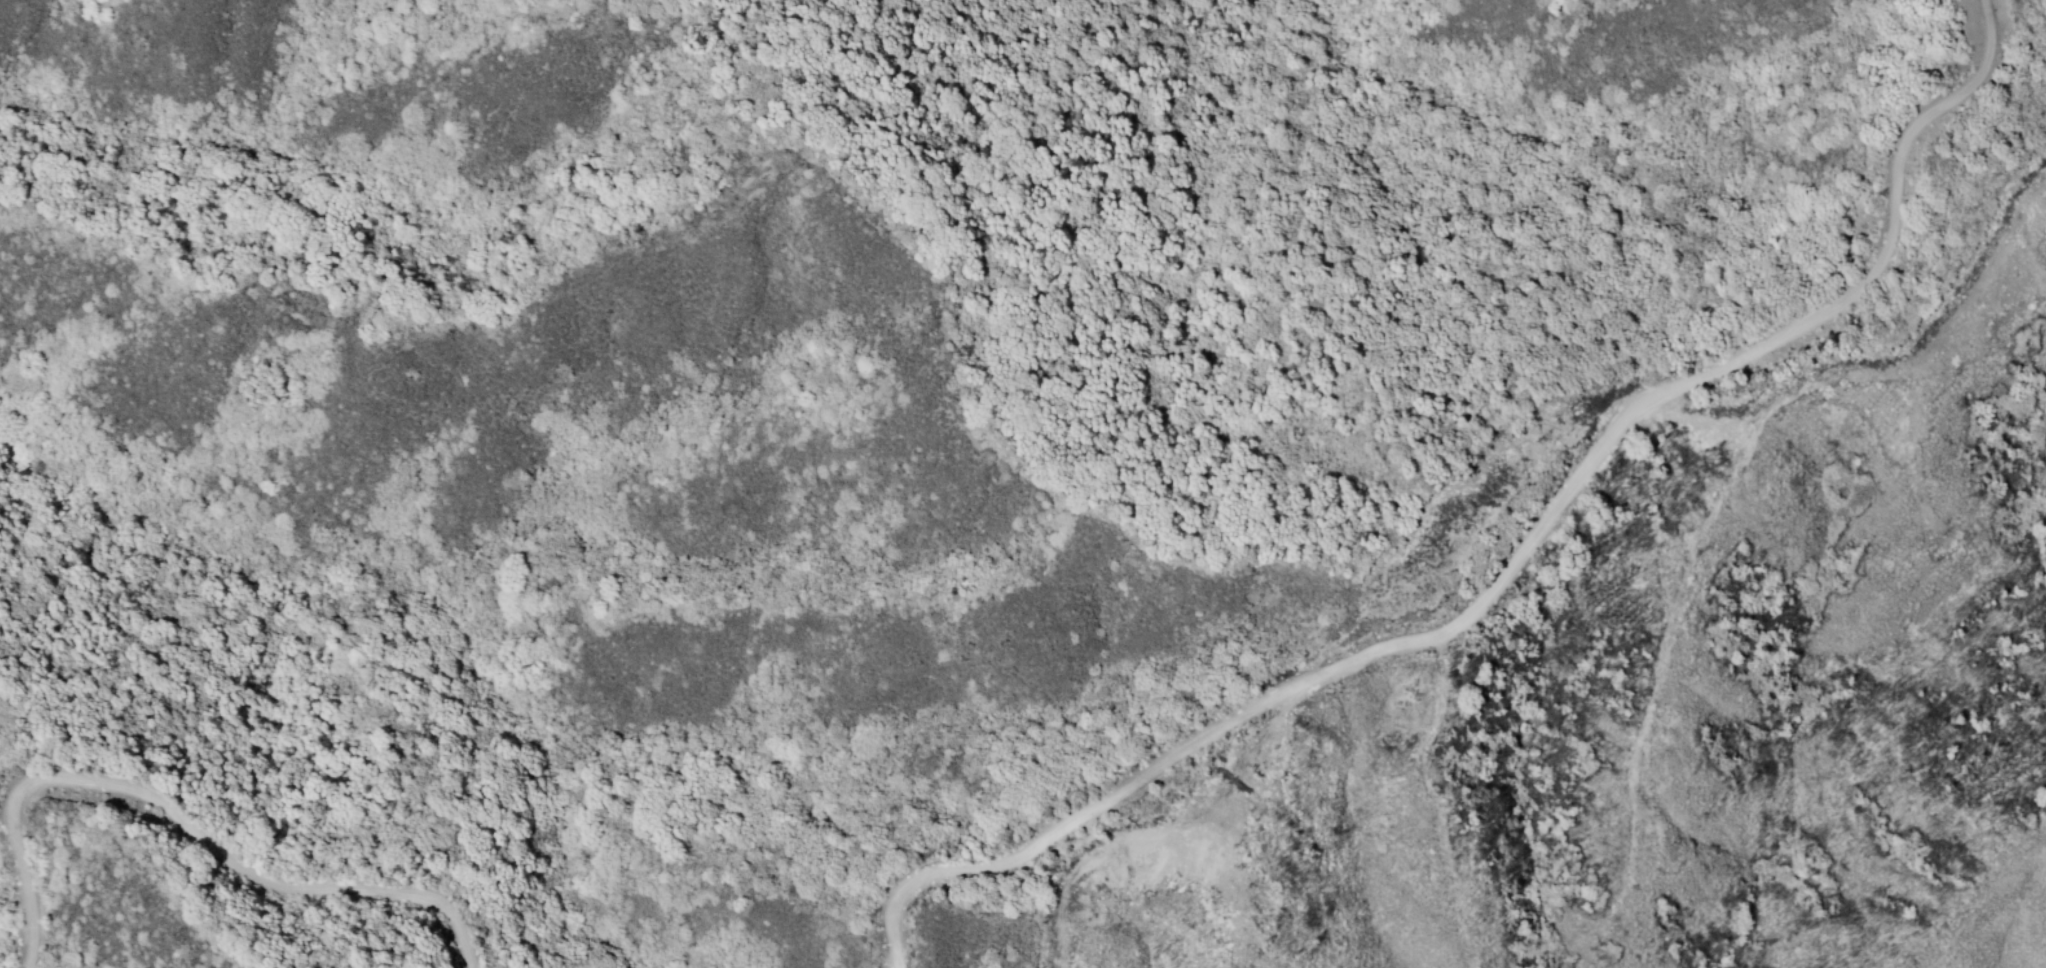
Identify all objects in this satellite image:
road: (2027, 256)
road: (1513, 563)
road: (1668, 621)
road: (179, 822)
road: (1182, 841)

